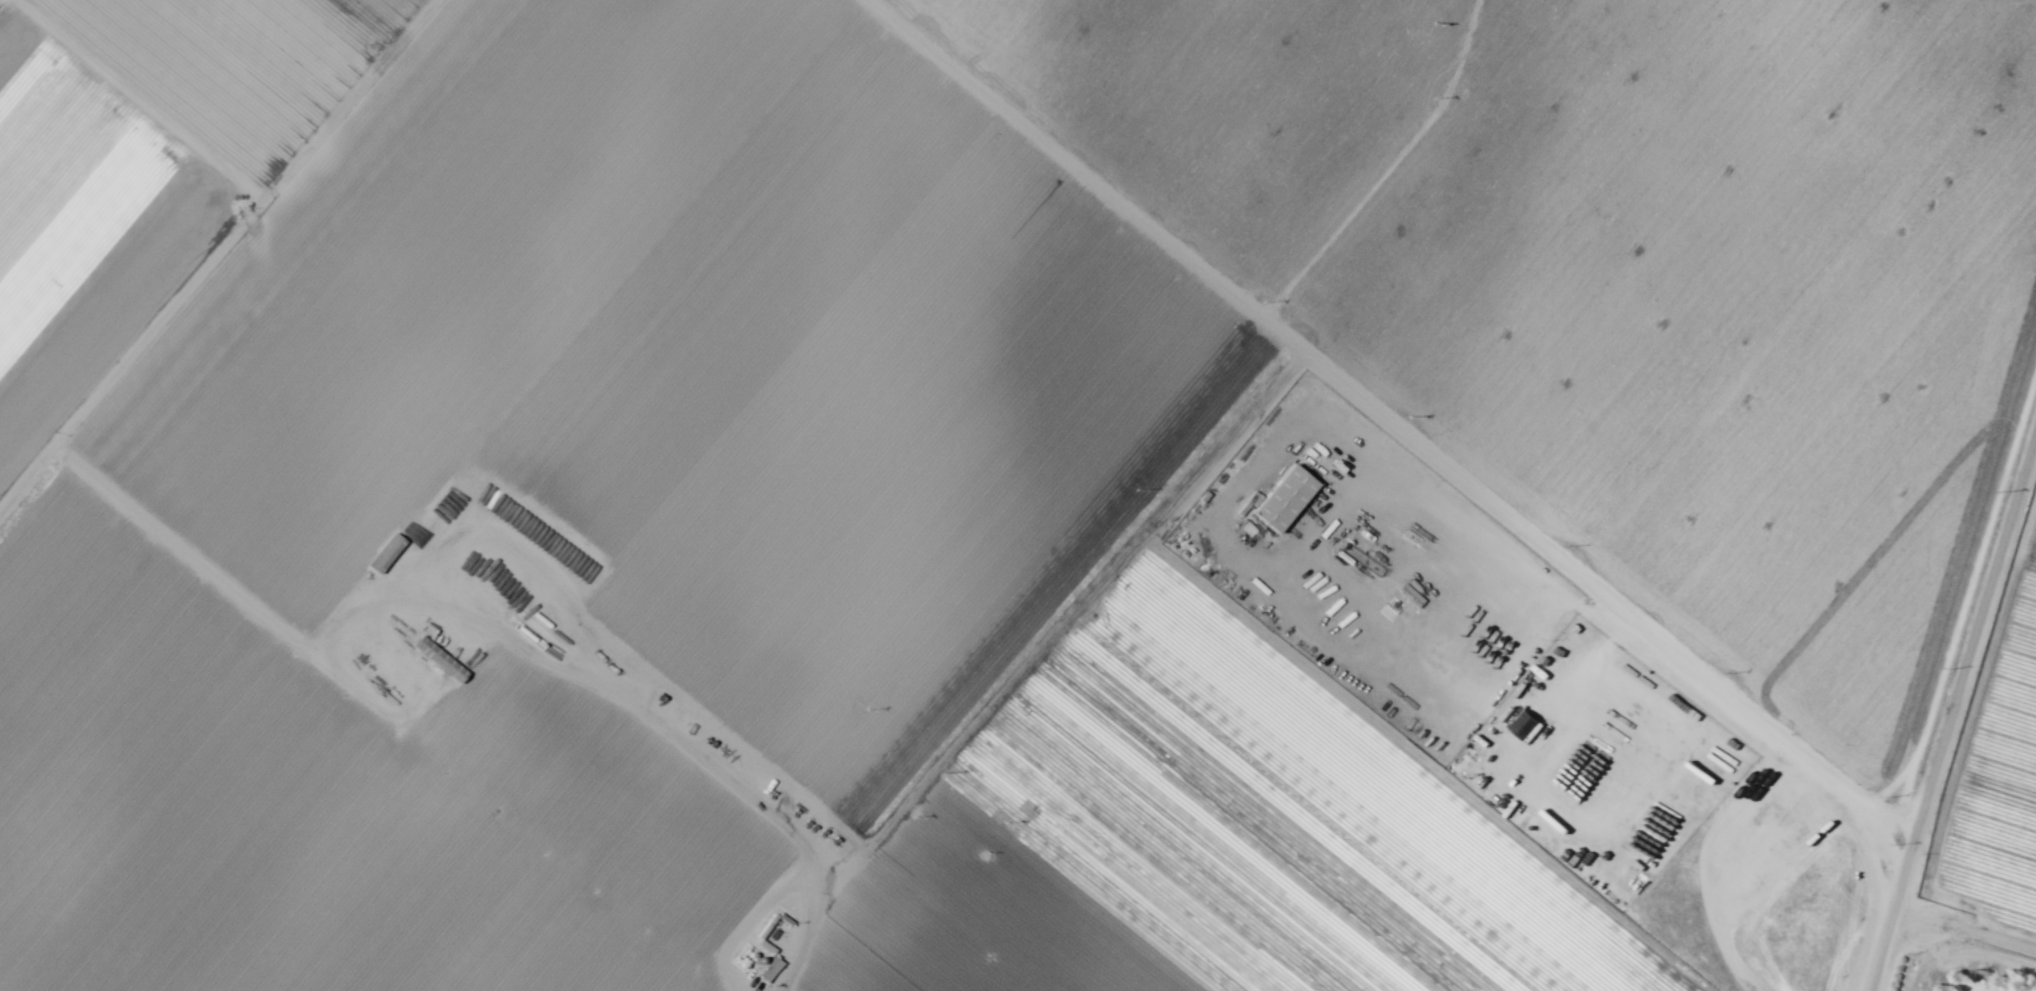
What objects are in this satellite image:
road: (1390, 167)
road: (215, 254)
road: (1394, 423)
crop: (955, 472)
building: (1285, 501)
road: (552, 516)
building: (387, 553)
road: (1960, 594)
building: (441, 660)
road: (1952, 714)
road: (1965, 930)

